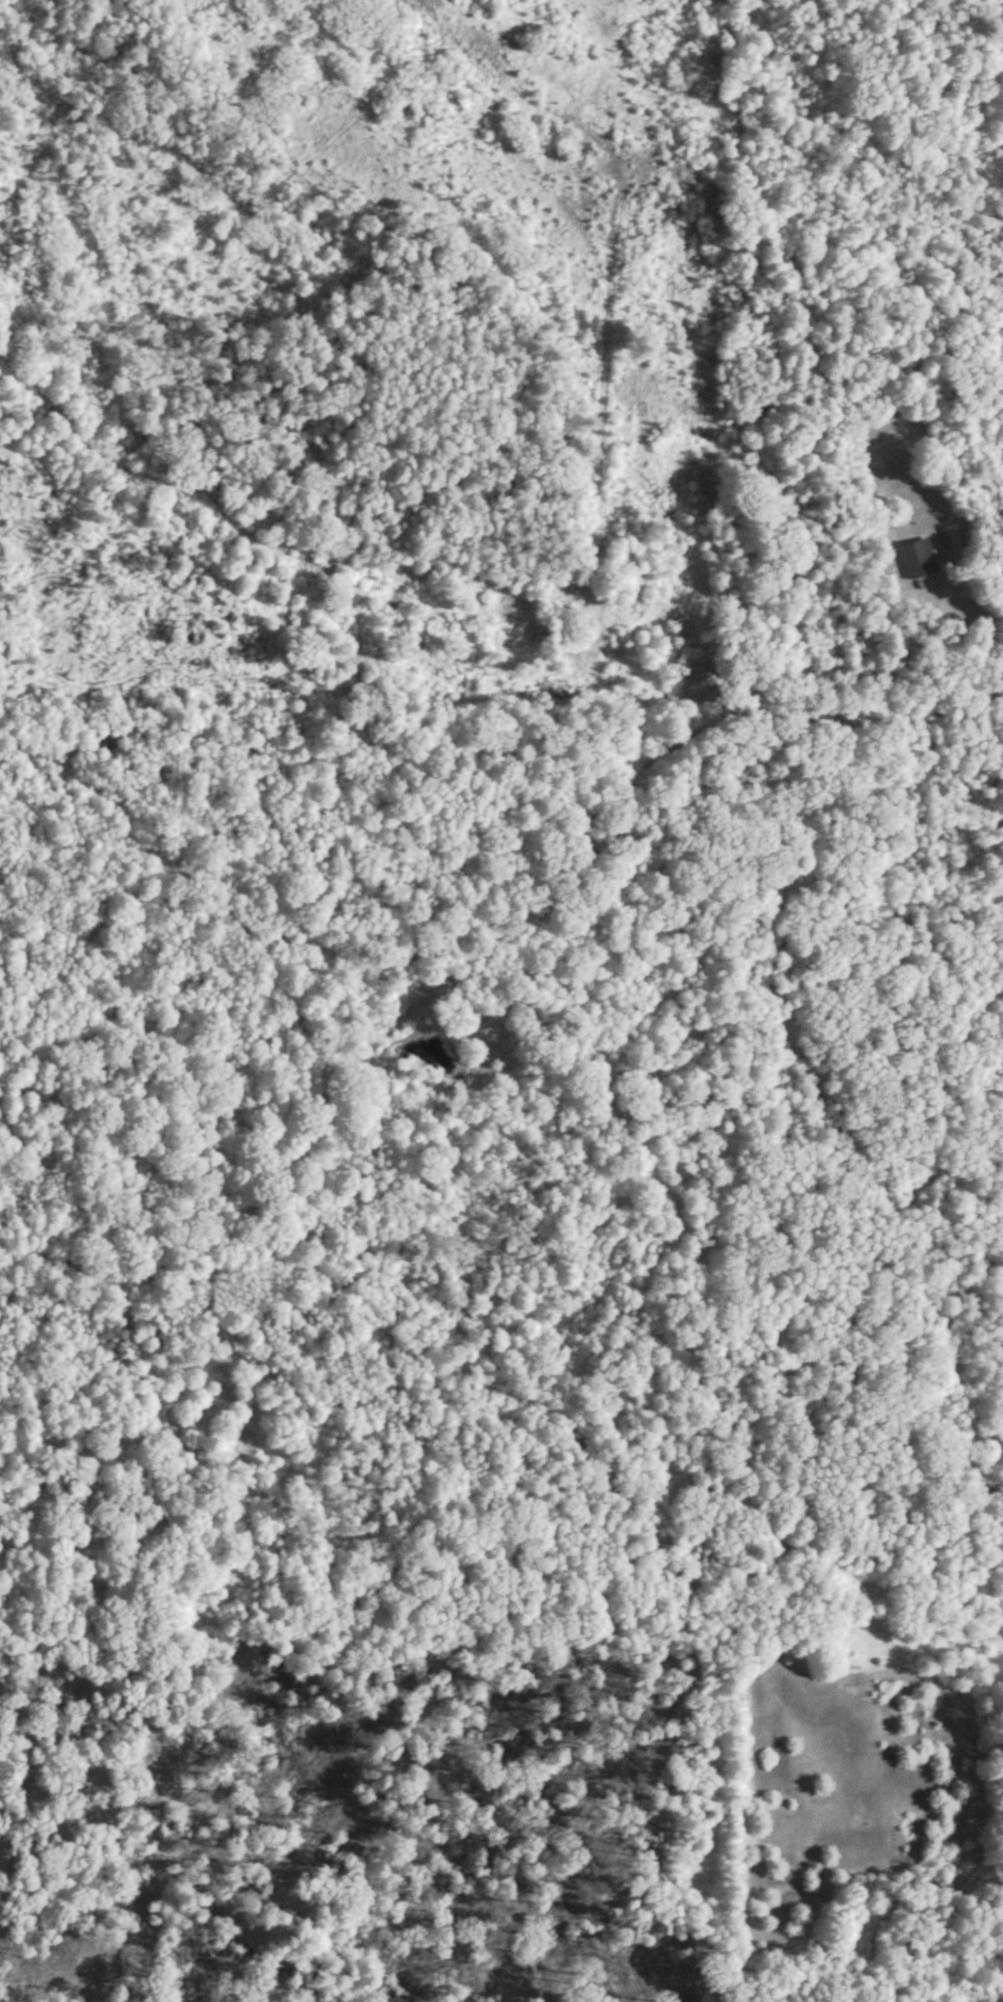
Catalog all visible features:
building: (916, 559)
road: (844, 708)

